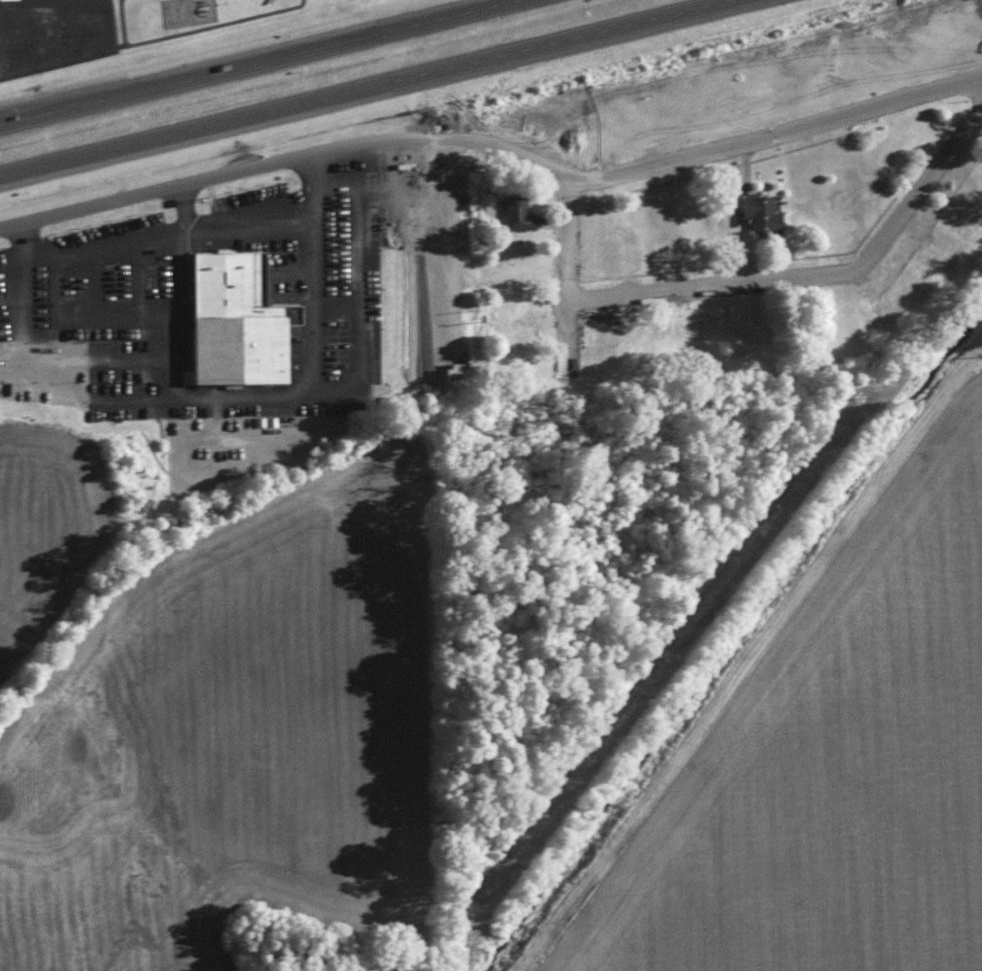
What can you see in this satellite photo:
road: (251, 60)
road: (0, 74)
road: (358, 86)
road: (757, 137)
road: (265, 161)
road: (377, 197)
building: (514, 211)
building: (757, 212)
road: (236, 231)
road: (450, 244)
road: (12, 268)
road: (326, 271)
road: (567, 271)
road: (814, 271)
road: (368, 313)
road: (185, 314)
building: (246, 321)
road: (90, 364)
building: (447, 370)
road: (88, 399)

